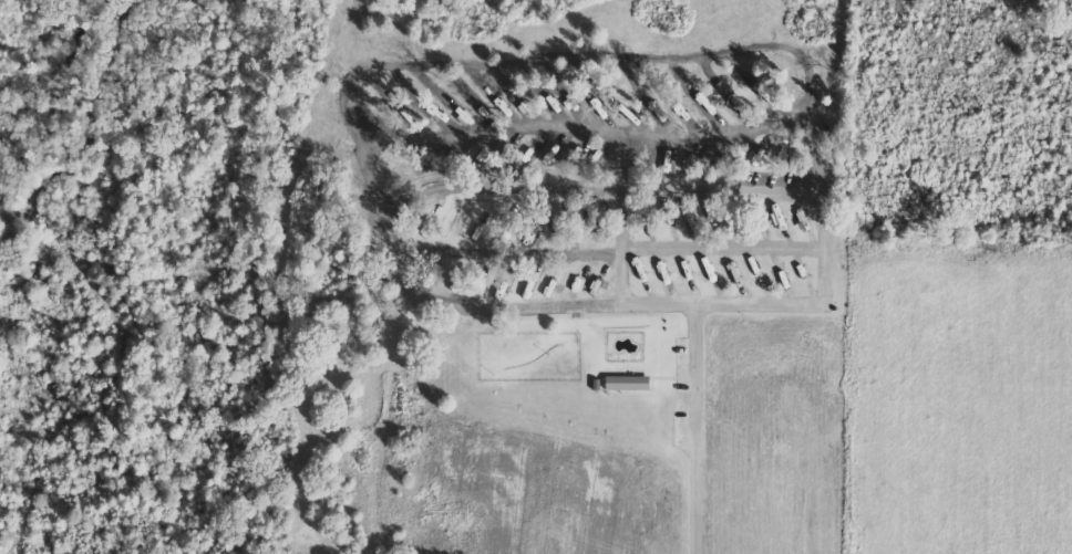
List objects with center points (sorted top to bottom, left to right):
road: (509, 60)
building: (629, 384)
road: (693, 429)

